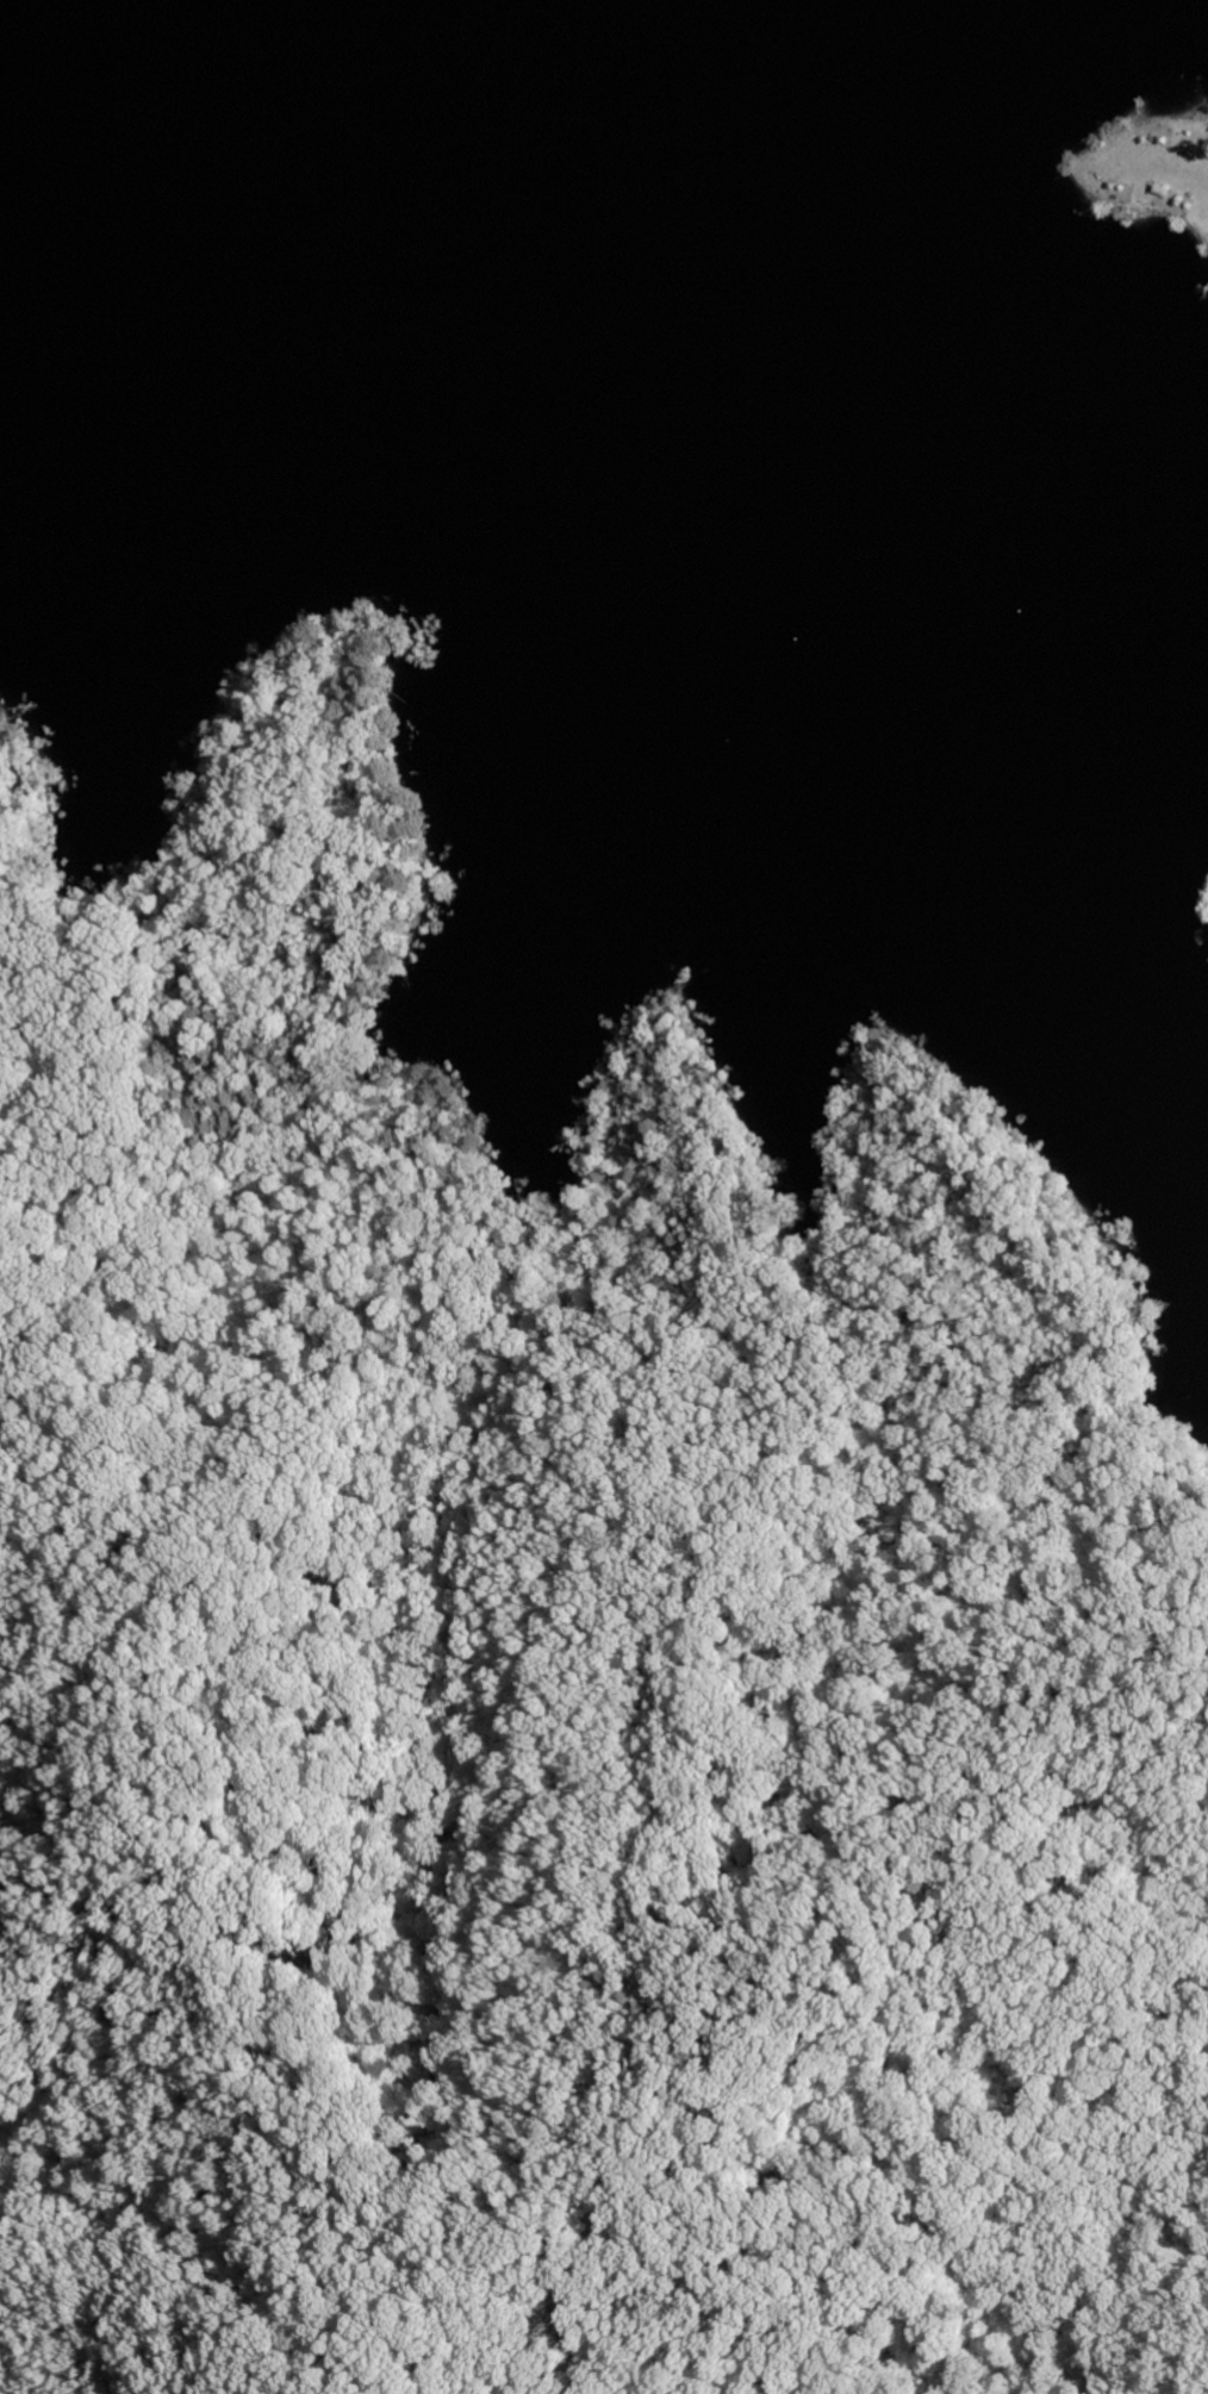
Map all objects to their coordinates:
road: (158, 1891)

